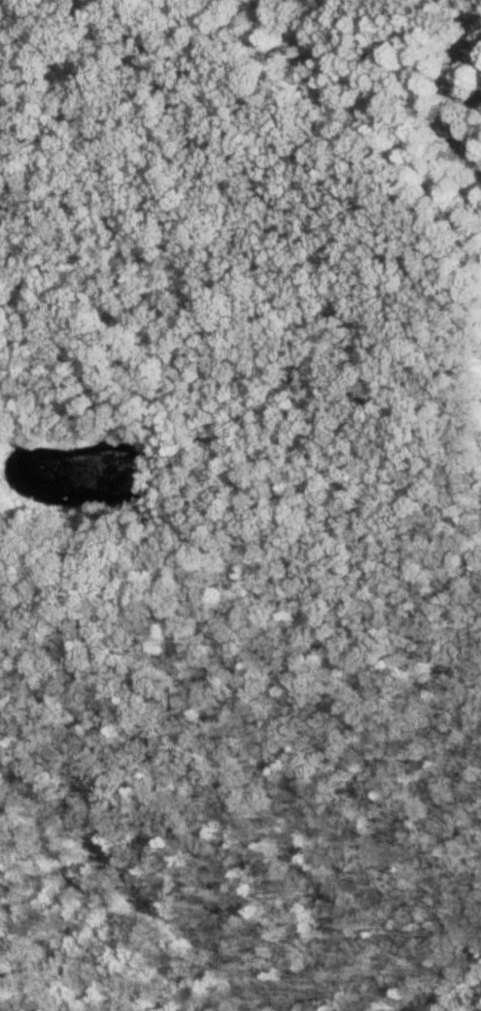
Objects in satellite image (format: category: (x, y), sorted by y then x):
road: (469, 713)
road: (112, 804)
road: (351, 835)
road: (243, 967)

